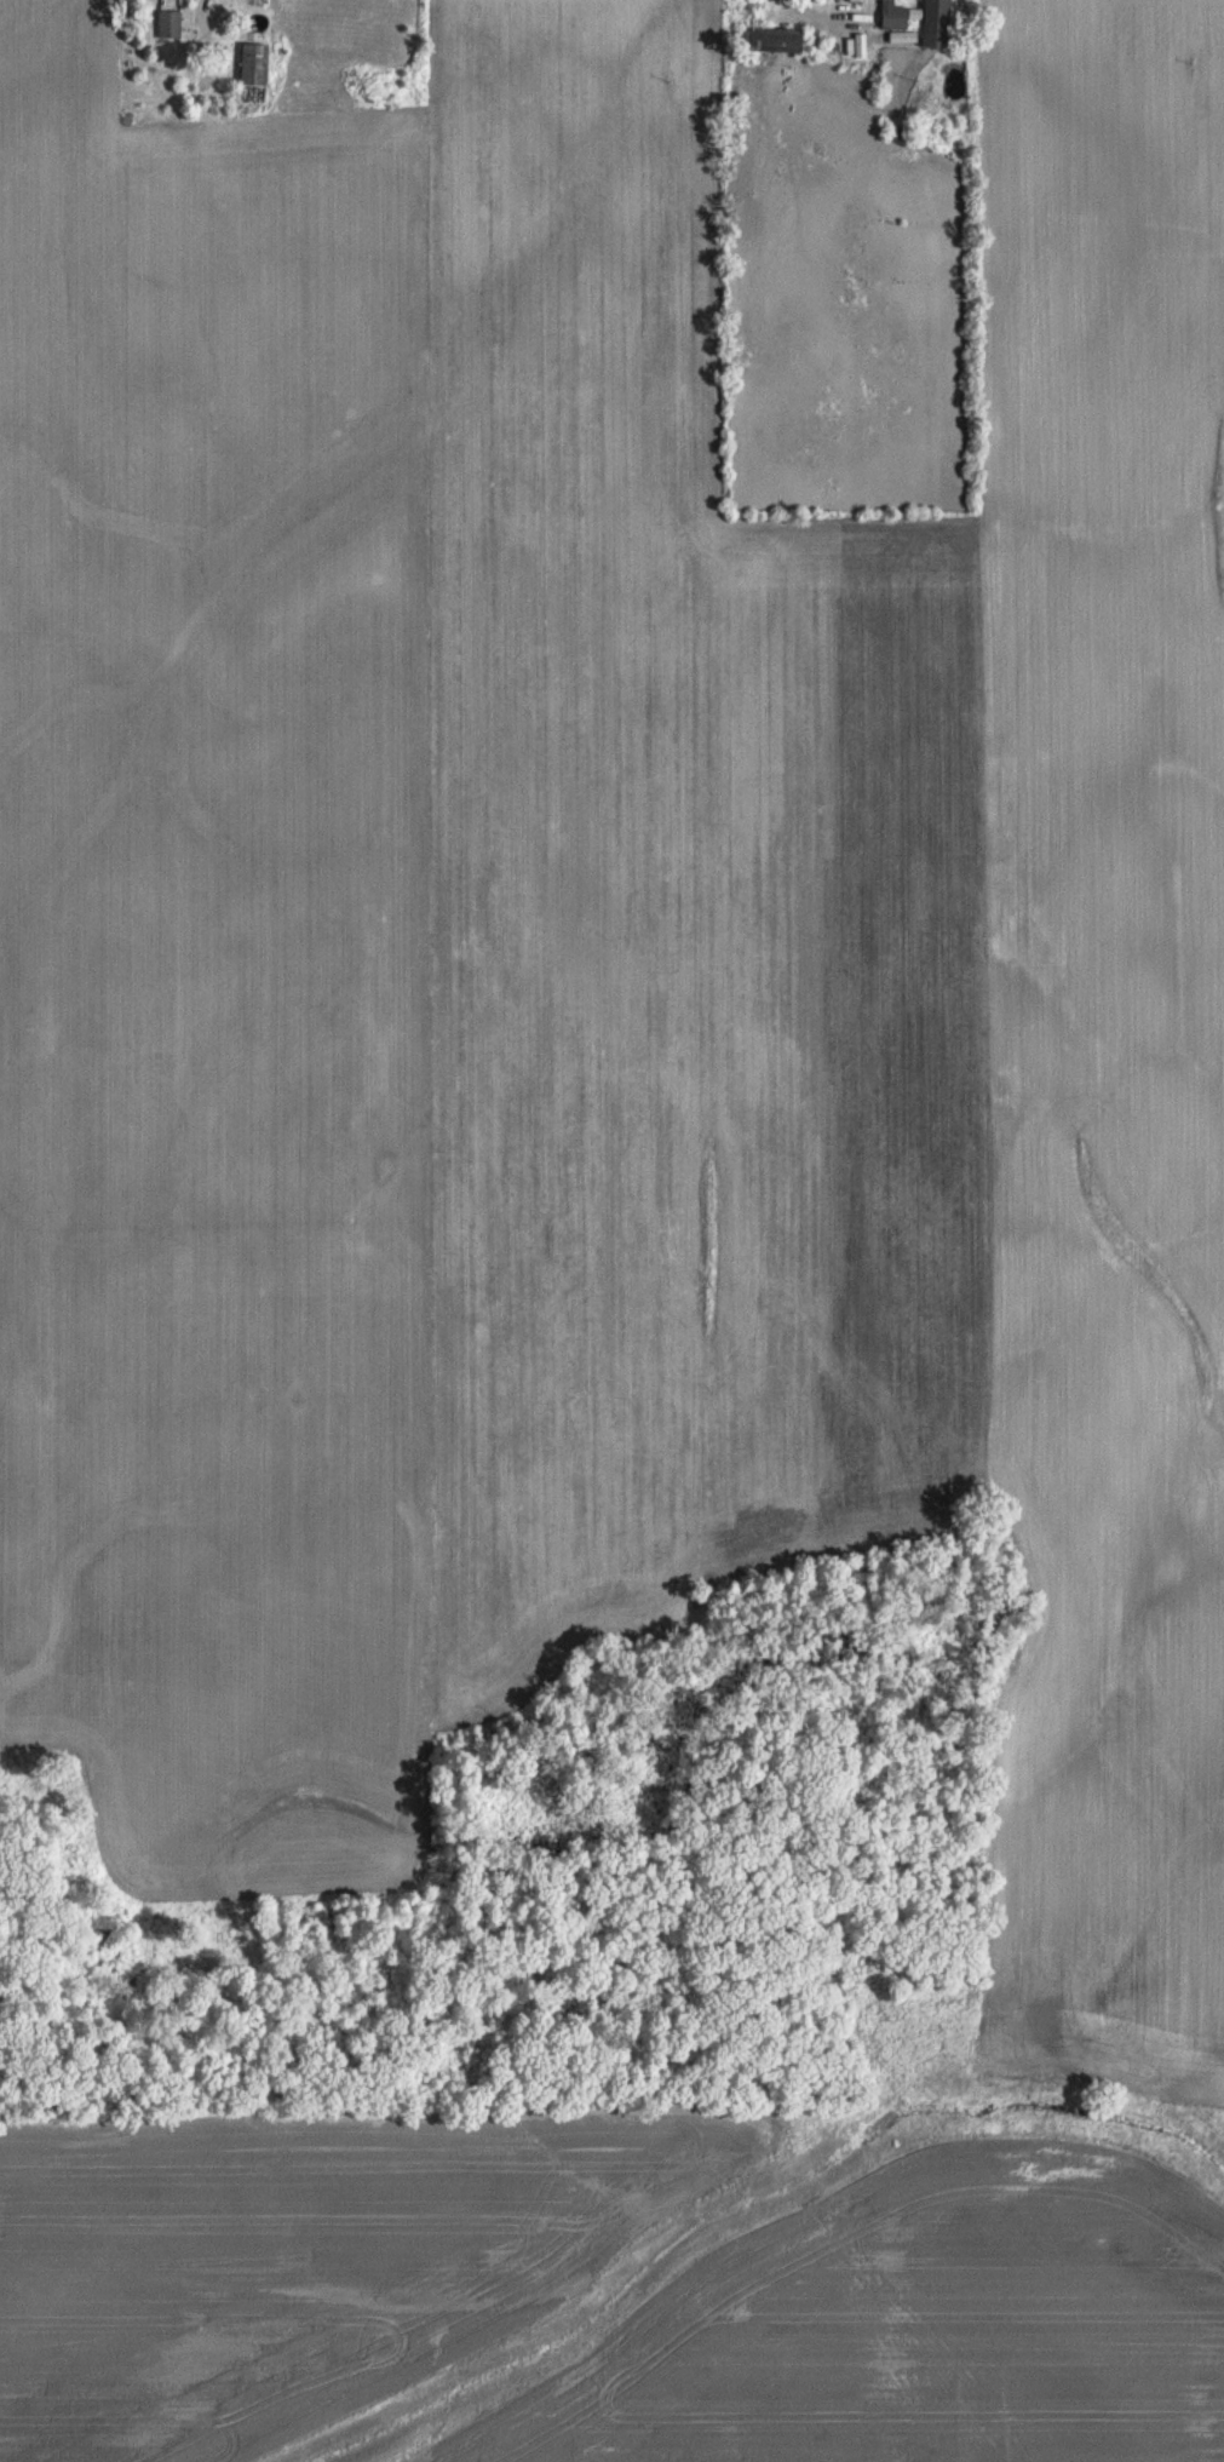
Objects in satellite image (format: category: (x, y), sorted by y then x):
building: (889, 15)
building: (167, 22)
building: (932, 22)
building: (772, 41)
building: (252, 63)

